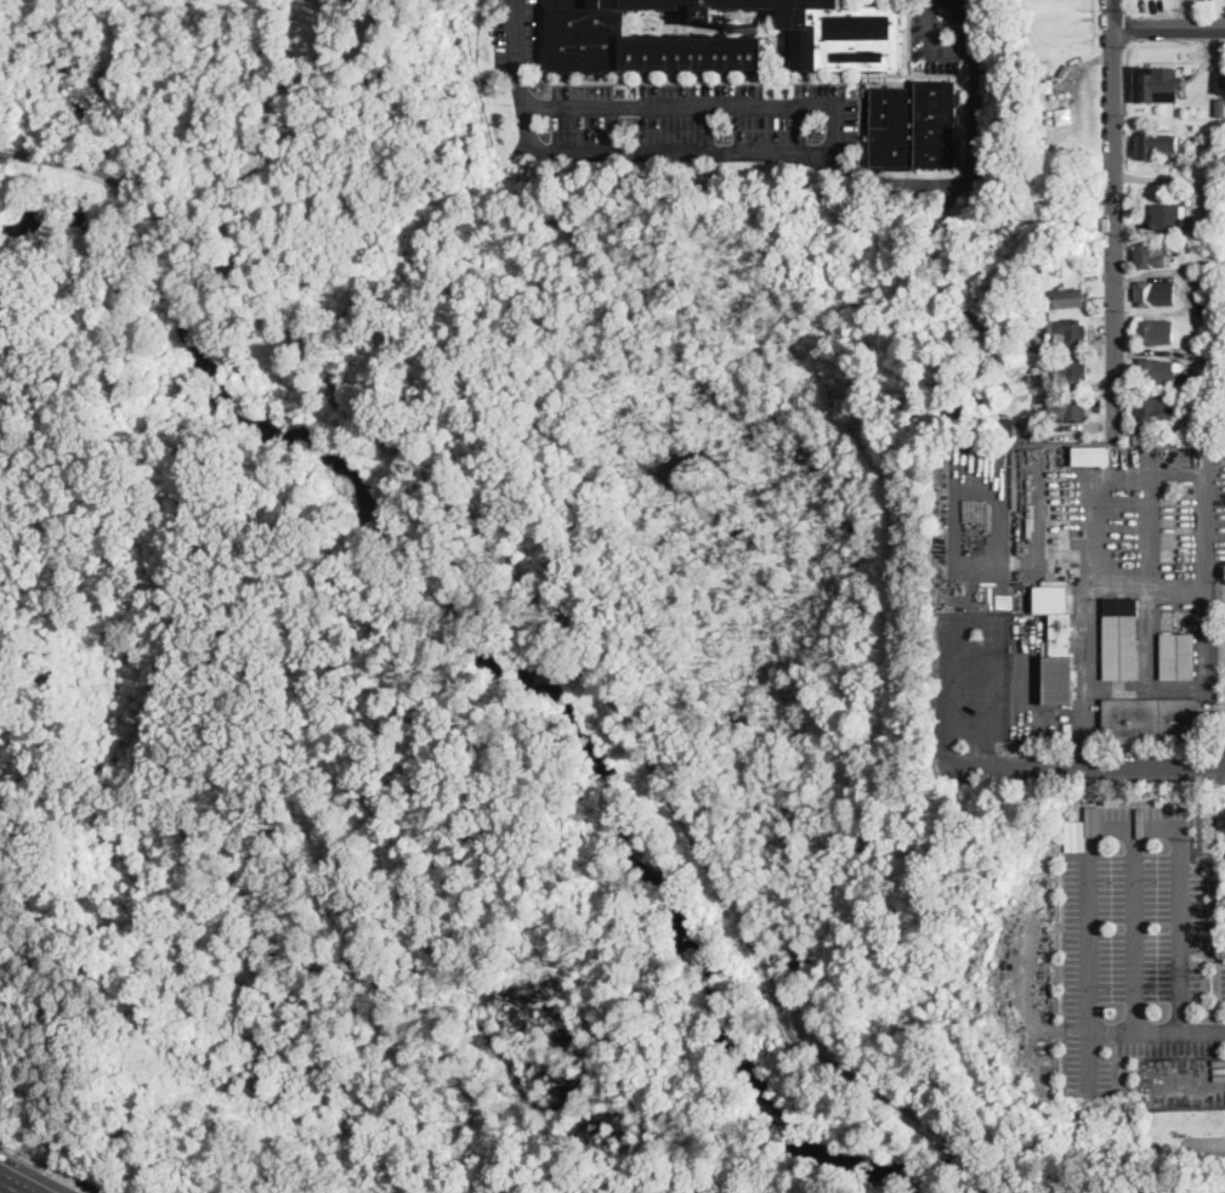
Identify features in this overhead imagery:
road: (1168, 27)
parking lot: (518, 34)
building: (847, 34)
parking lot: (937, 34)
road: (930, 45)
building: (1220, 81)
building: (1157, 84)
road: (716, 103)
building: (1220, 113)
parking lot: (704, 121)
building: (915, 126)
road: (282, 128)
building: (1155, 145)
road: (771, 154)
building: (1169, 216)
road: (1112, 217)
building: (1152, 255)
building: (1156, 293)
building: (1071, 298)
building: (1031, 329)
building: (1068, 330)
building: (1155, 332)
building: (1068, 369)
building: (1156, 371)
building: (1214, 402)
building: (1068, 408)
building: (1153, 409)
building: (1218, 418)
building: (1028, 425)
building: (1037, 428)
building: (1139, 429)
building: (1091, 456)
road: (1100, 476)
road: (1150, 527)
road: (1214, 588)
road: (557, 614)
road: (975, 620)
building: (1122, 639)
building: (1057, 641)
building: (1178, 656)
road: (1088, 672)
building: (1152, 722)
road: (1082, 768)
road: (1088, 911)
road: (1134, 928)
road: (1180, 929)
parking lot: (1132, 942)
road: (1156, 1033)
road: (6, 1189)

